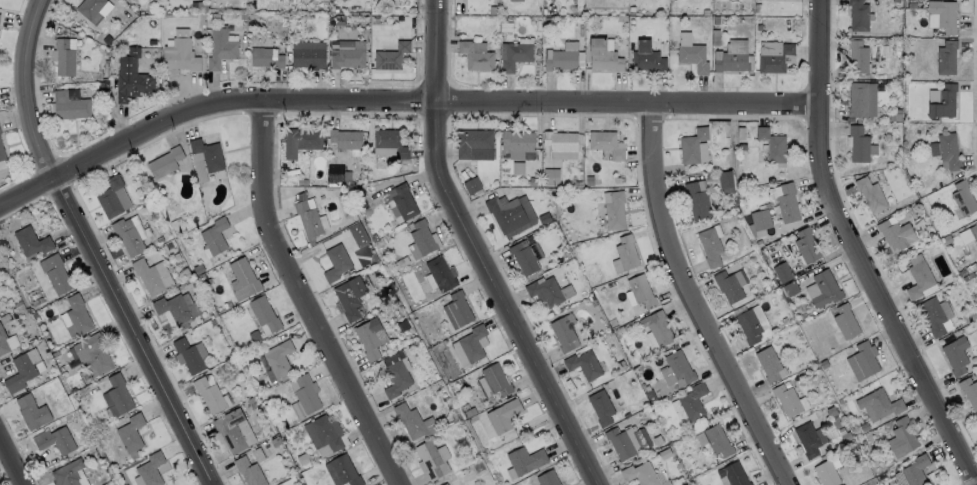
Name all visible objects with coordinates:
building: (515, 0)
building: (90, 9)
building: (943, 14)
building: (857, 15)
building: (221, 48)
building: (307, 53)
building: (514, 53)
building: (180, 54)
building: (347, 55)
building: (391, 55)
building: (602, 55)
building: (774, 55)
building: (265, 56)
building: (475, 56)
building: (646, 56)
building: (692, 56)
building: (857, 56)
building: (945, 56)
building: (64, 57)
building: (559, 59)
building: (731, 61)
building: (130, 76)
road: (33, 89)
building: (857, 99)
road: (429, 101)
building: (943, 101)
building: (69, 105)
building: (345, 138)
building: (300, 140)
building: (390, 141)
building: (517, 143)
building: (606, 143)
building: (473, 144)
building: (561, 144)
building: (692, 144)
building: (771, 144)
building: (859, 144)
building: (945, 150)
building: (1, 152)
building: (207, 154)
building: (164, 162)
building: (335, 173)
building: (725, 181)
building: (471, 185)
road: (28, 191)
building: (870, 193)
building: (886, 194)
building: (112, 196)
building: (962, 197)
building: (697, 200)
building: (403, 201)
building: (787, 202)
building: (614, 210)
building: (511, 213)
building: (308, 218)
building: (760, 219)
building: (973, 231)
building: (893, 233)
building: (358, 234)
building: (214, 235)
building: (127, 236)
building: (422, 237)
building: (31, 240)
building: (805, 245)
building: (709, 246)
road: (479, 251)
building: (626, 251)
road: (857, 252)
building: (525, 255)
building: (335, 262)
building: (441, 272)
building: (781, 272)
building: (54, 273)
building: (150, 274)
building: (243, 274)
building: (918, 279)
building: (728, 285)
building: (824, 288)
building: (640, 289)
building: (544, 290)
building: (566, 291)
building: (349, 296)
road: (304, 298)
road: (699, 300)
building: (176, 307)
building: (456, 309)
building: (263, 313)
building: (77, 314)
building: (932, 315)
building: (845, 320)
building: (748, 325)
building: (657, 326)
road: (135, 332)
building: (562, 332)
building: (370, 337)
building: (2, 342)
building: (472, 342)
building: (92, 354)
building: (955, 354)
building: (188, 355)
building: (278, 358)
building: (864, 358)
building: (767, 363)
building: (583, 364)
building: (678, 366)
building: (21, 369)
building: (396, 373)
building: (976, 376)
building: (495, 378)
building: (969, 391)
building: (305, 392)
building: (116, 395)
building: (208, 395)
building: (786, 399)
building: (692, 400)
building: (877, 404)
building: (600, 406)
building: (297, 410)
building: (31, 411)
building: (503, 415)
building: (413, 421)
building: (485, 425)
building: (230, 429)
building: (130, 432)
building: (323, 432)
building: (901, 437)
building: (807, 439)
building: (55, 440)
building: (627, 440)
building: (717, 440)
building: (433, 458)
building: (525, 460)
road: (12, 461)
building: (150, 469)
building: (914, 470)
building: (250, 471)
building: (341, 471)
building: (66, 472)
building: (826, 473)
building: (643, 474)
building: (733, 474)
building: (547, 478)
building: (444, 484)

